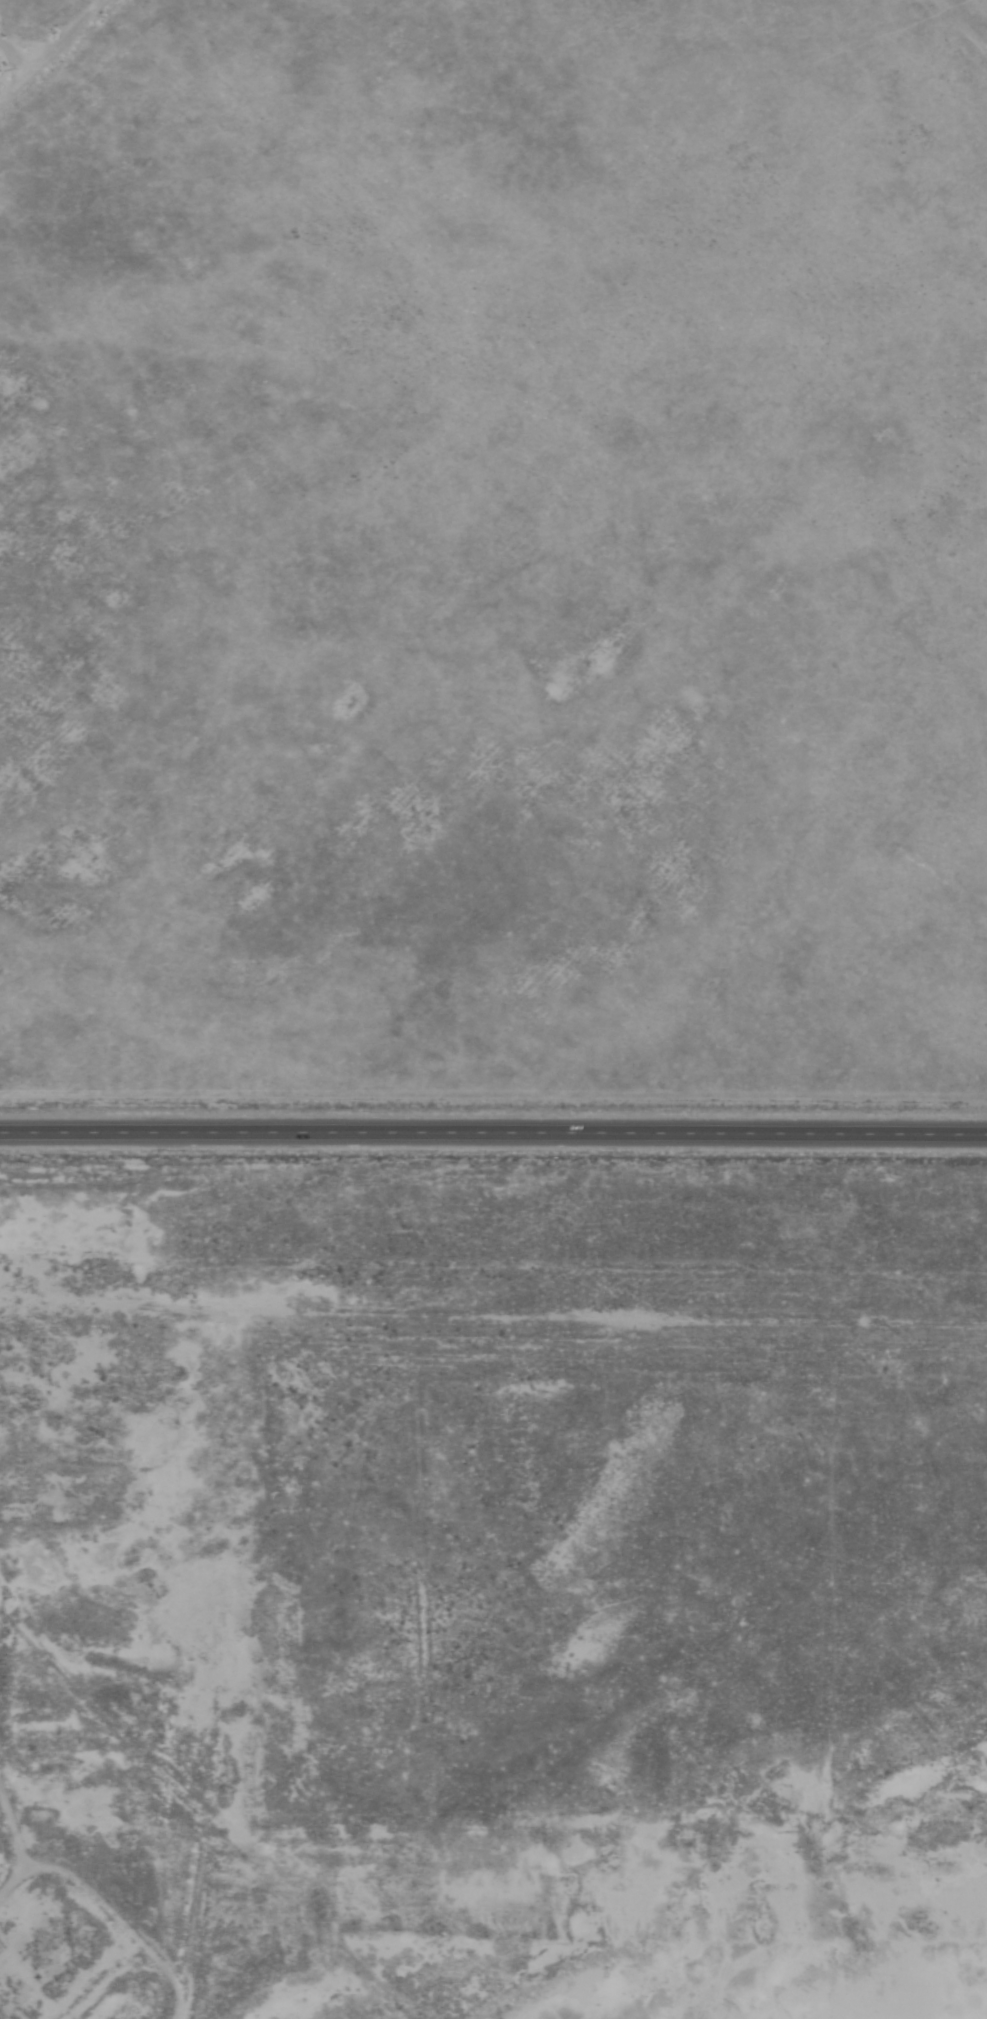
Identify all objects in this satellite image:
road: (962, 24)
road: (46, 45)
road: (11, 56)
road: (493, 1134)
road: (60, 1717)
road: (134, 1886)

